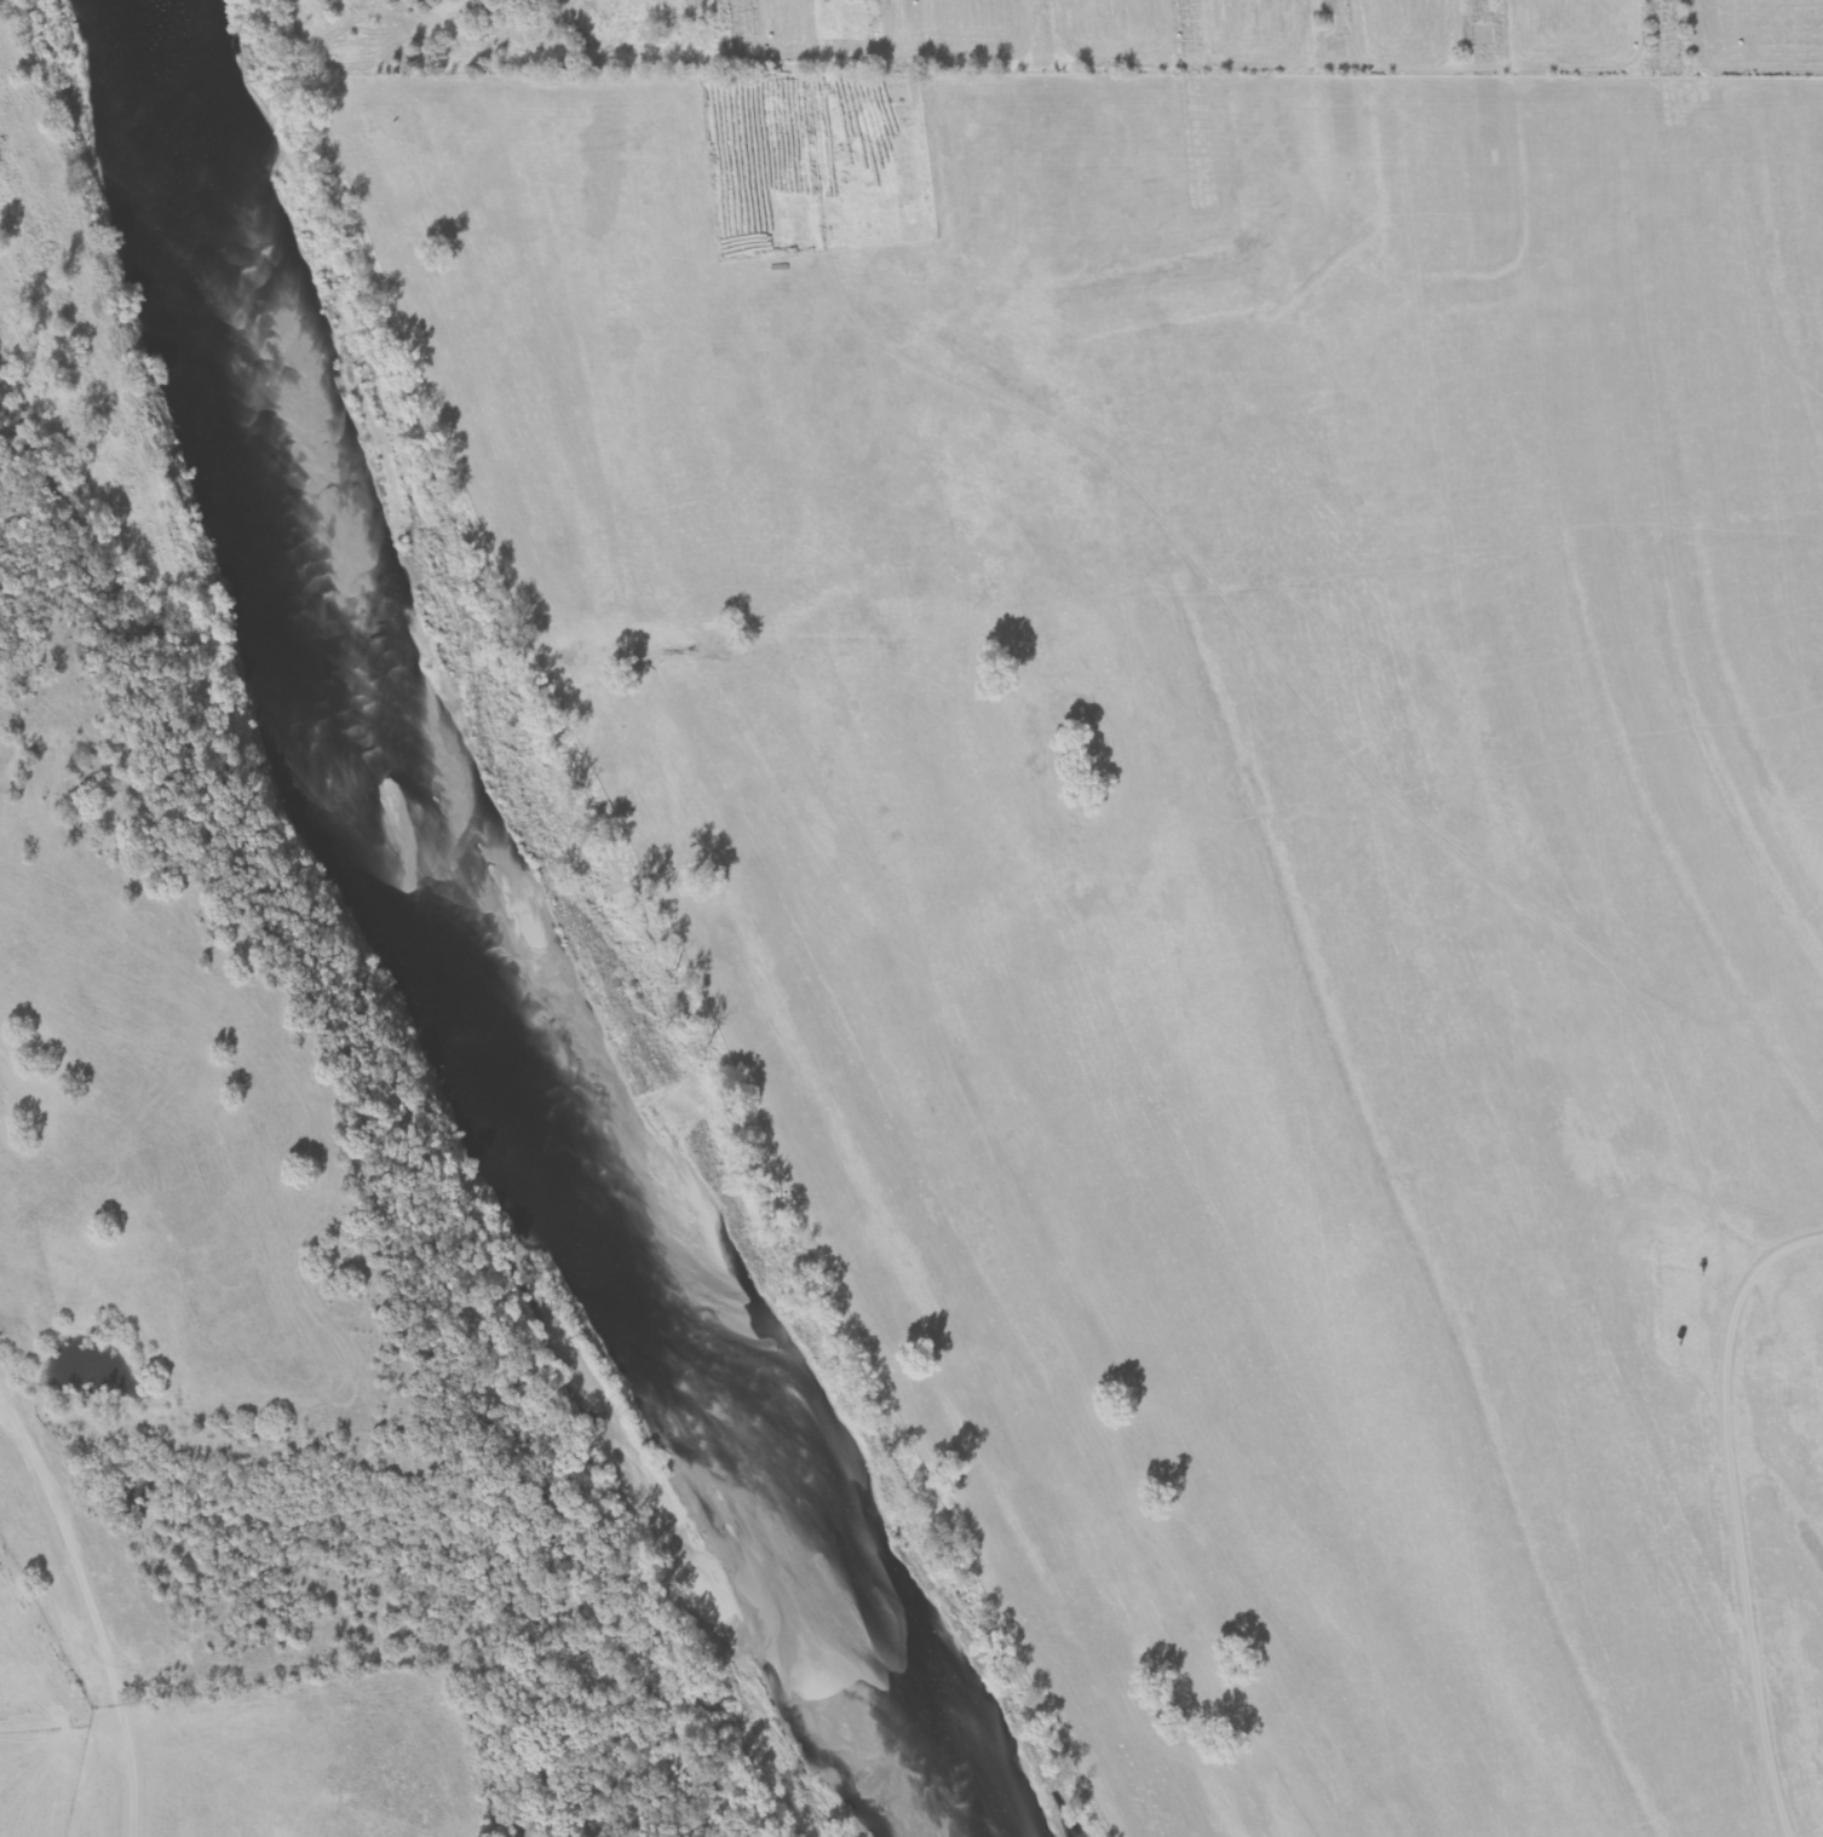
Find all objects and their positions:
airport: (1106, 122)
river: (408, 981)
road: (85, 1599)

